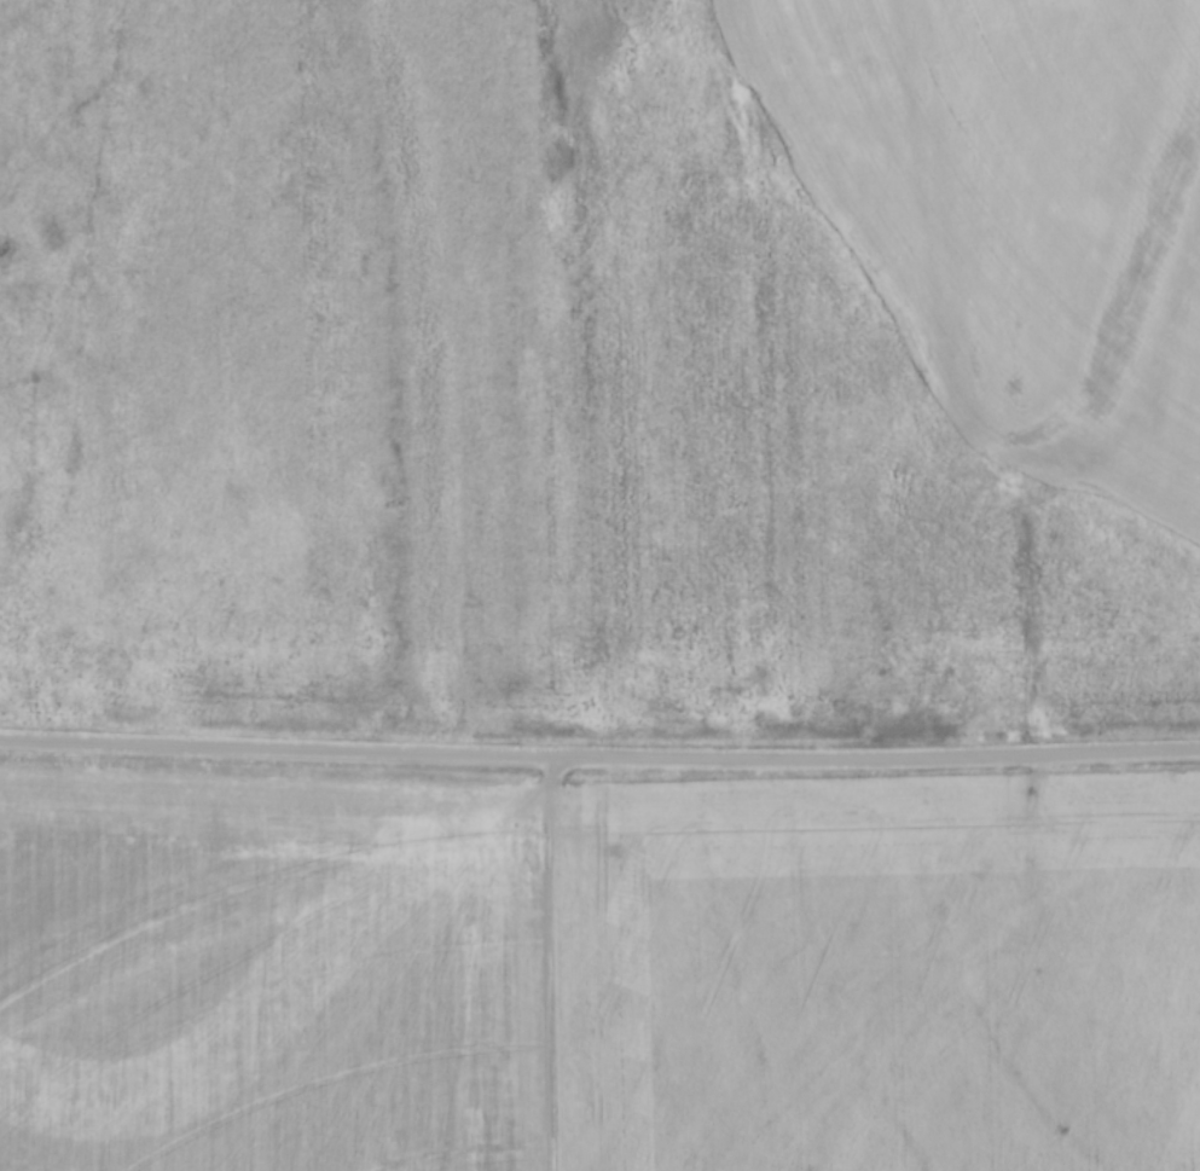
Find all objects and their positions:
road: (599, 755)

